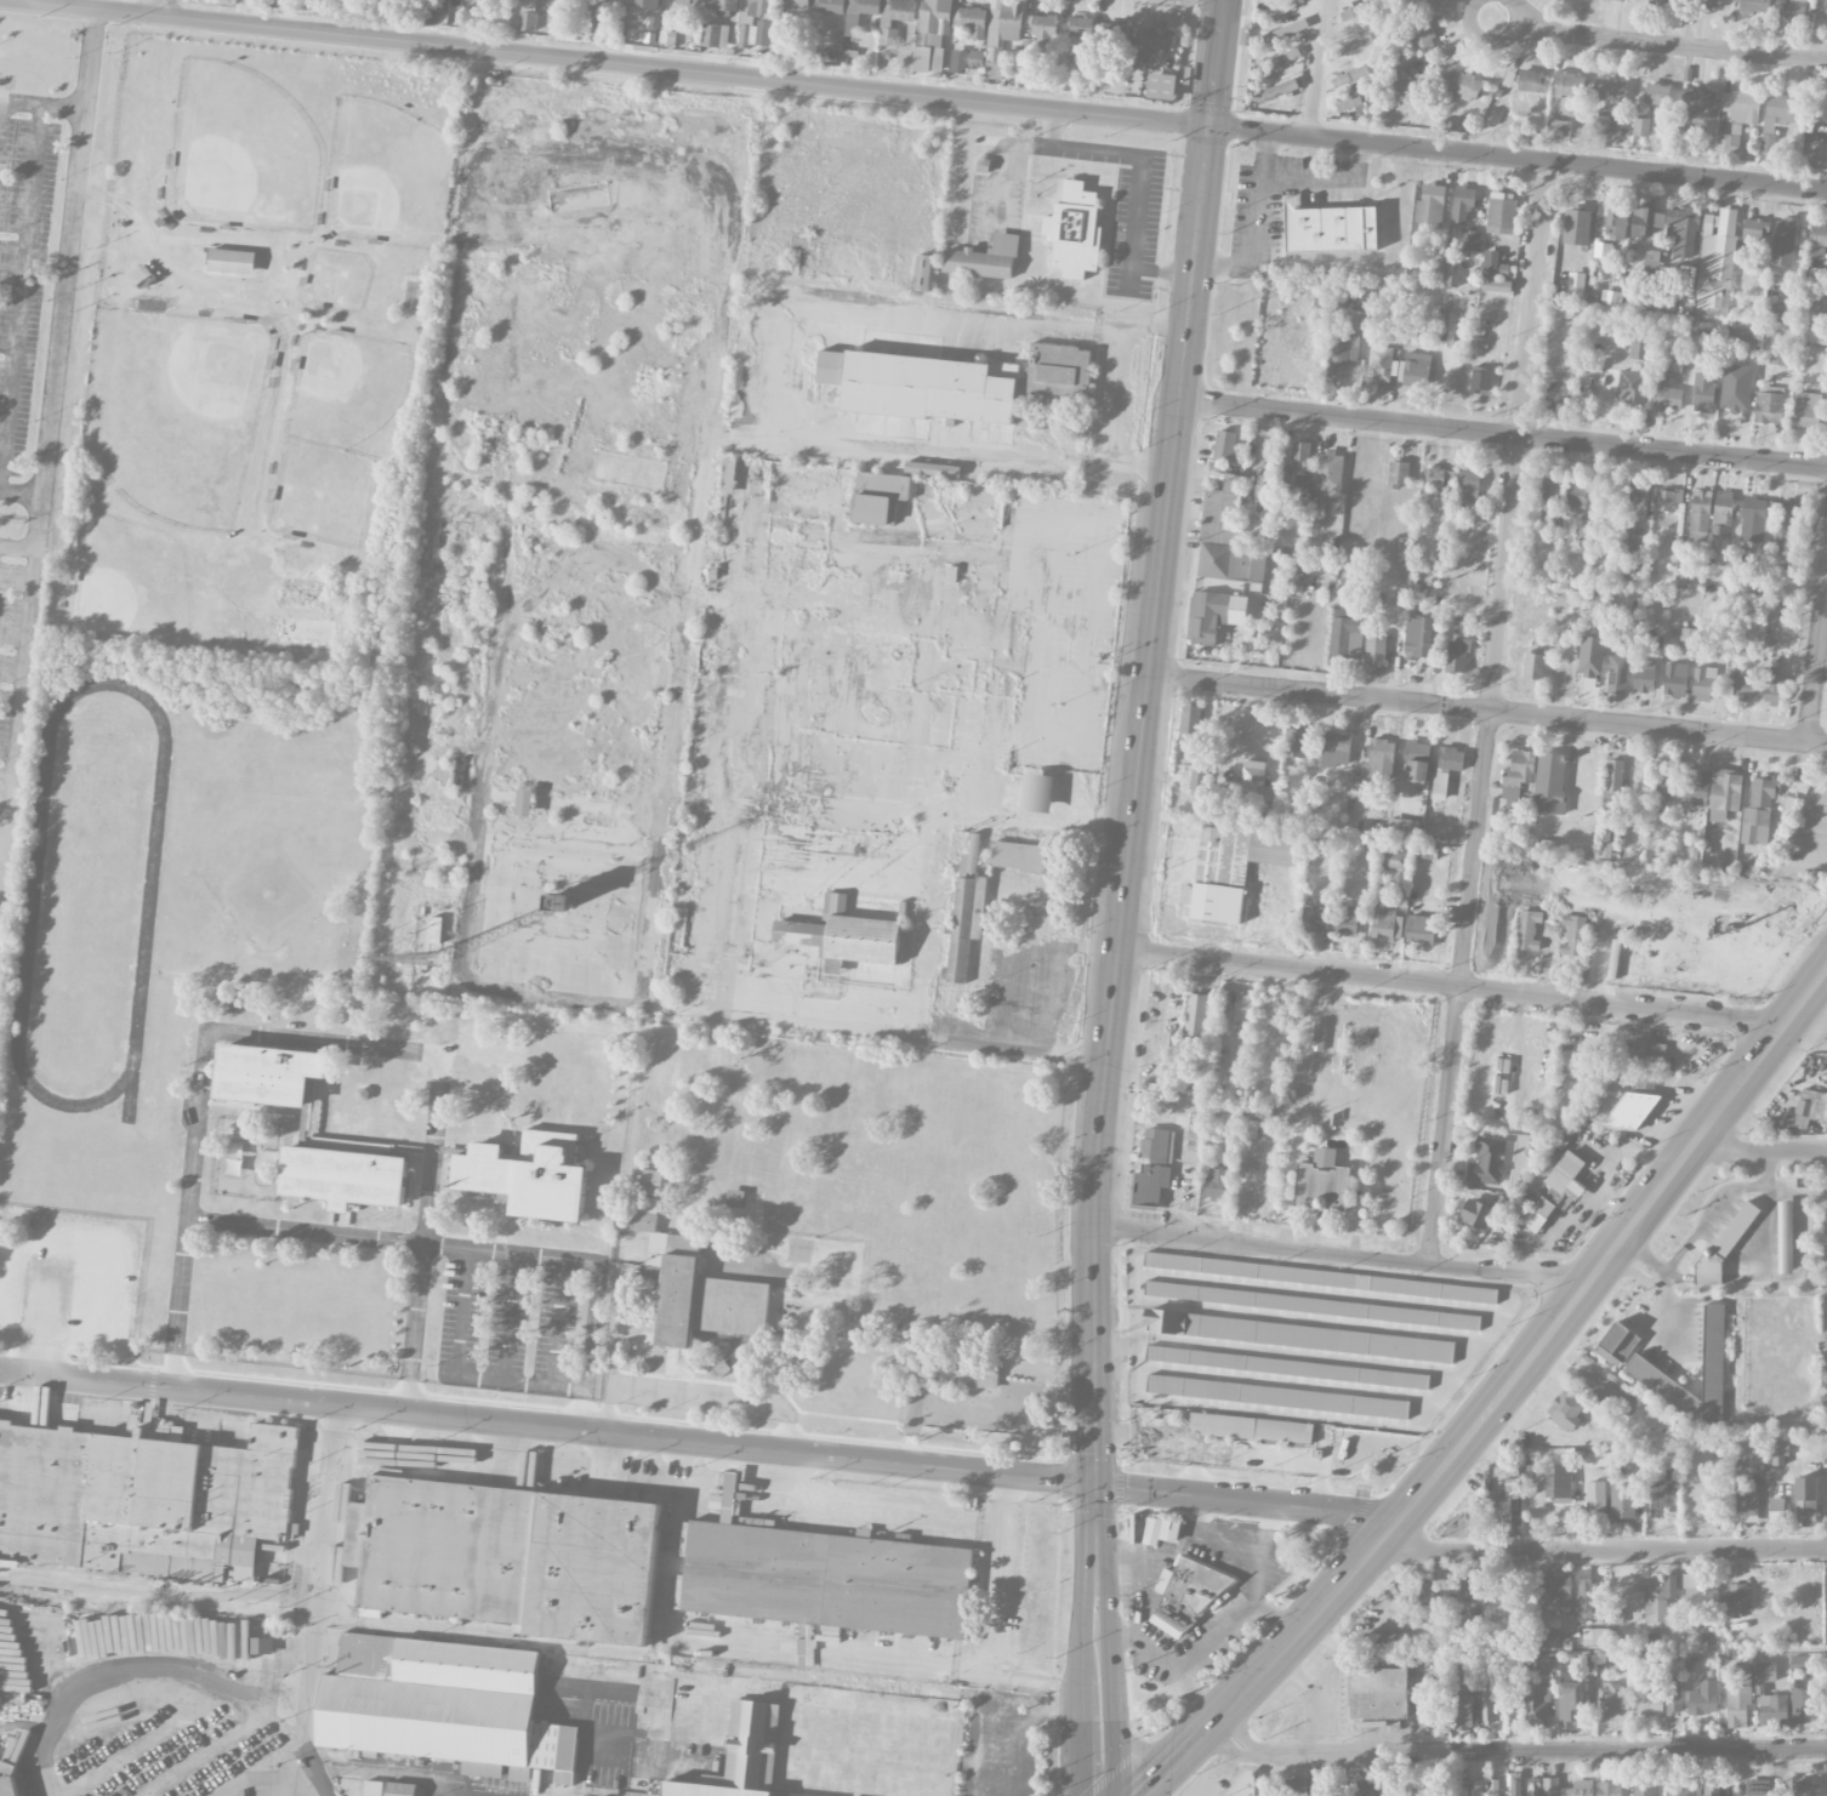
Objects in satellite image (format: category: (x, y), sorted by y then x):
building: (1633, 0)
building: (1664, 1)
building: (688, 2)
building: (798, 4)
building: (1708, 4)
building: (722, 5)
building: (564, 6)
building: (832, 6)
building: (1753, 6)
building: (1794, 7)
road: (161, 8)
building: (639, 8)
building: (1284, 8)
building: (1825, 10)
building: (1355, 11)
building: (859, 13)
building: (528, 15)
building: (897, 19)
building: (973, 22)
building: (1004, 22)
building: (756, 23)
building: (1080, 27)
building: (1043, 28)
building: (1285, 32)
building: (1114, 33)
building: (932, 34)
building: (715, 35)
building: (1421, 35)
building: (1159, 38)
building: (667, 39)
road: (1487, 41)
road: (1664, 46)
building: (1350, 47)
building: (1286, 57)
building: (974, 58)
road: (1317, 69)
building: (1349, 76)
building: (1532, 81)
building: (1400, 82)
building: (1462, 85)
building: (1569, 85)
building: (1161, 86)
building: (1610, 90)
building: (1276, 92)
building: (1656, 93)
road: (912, 97)
road: (21, 102)
building: (1348, 103)
building: (1700, 104)
building: (1822, 110)
building: (1778, 116)
building: (1736, 120)
building: (1604, 124)
building: (1640, 127)
traffic signals: (1210, 129)
building: (1559, 130)
park: (239, 153)
road: (1143, 163)
park: (387, 176)
road: (1325, 182)
building: (1430, 205)
building: (1463, 205)
building: (1501, 216)
building: (1616, 219)
building: (1646, 222)
road: (1256, 226)
building: (1576, 227)
building: (1330, 229)
building: (1754, 229)
building: (1075, 230)
building: (1683, 230)
building: (1472, 240)
building: (1783, 240)
building: (1816, 240)
building: (1601, 251)
building: (985, 258)
building: (1740, 258)
building: (226, 262)
building: (1651, 263)
building: (1493, 264)
road: (23, 266)
road: (1165, 269)
building: (1718, 269)
building: (923, 273)
building: (142, 275)
park: (334, 279)
building: (1576, 280)
building: (1496, 286)
road: (63, 298)
building: (1359, 303)
building: (1781, 312)
building: (1701, 330)
building: (1740, 333)
building: (1815, 333)
building: (1639, 349)
building: (1342, 353)
park: (209, 354)
building: (1777, 355)
building: (1379, 364)
building: (829, 367)
building: (1416, 370)
road: (785, 374)
building: (1480, 380)
building: (964, 383)
building: (1632, 386)
building: (1736, 388)
park: (342, 389)
road: (1117, 389)
building: (1556, 390)
building: (1703, 393)
building: (1667, 395)
building: (1769, 404)
park: (175, 409)
building: (1806, 410)
building: (889, 426)
road: (1504, 433)
building: (1225, 447)
building: (1300, 463)
building: (932, 469)
building: (1327, 472)
building: (1398, 474)
road: (1173, 475)
building: (728, 477)
building: (1434, 478)
building: (1468, 485)
road: (22, 492)
building: (1575, 492)
building: (1549, 494)
park: (319, 495)
building: (878, 497)
building: (1667, 500)
building: (1637, 503)
building: (1222, 512)
building: (1721, 513)
building: (1700, 515)
building: (1758, 520)
building: (1792, 521)
building: (1638, 543)
building: (1231, 563)
building: (1237, 610)
building: (1207, 616)
building: (1347, 633)
building: (1419, 638)
building: (1687, 638)
building: (1374, 649)
building: (1457, 656)
building: (1590, 656)
building: (1533, 666)
road: (1817, 666)
building: (1617, 674)
building: (1644, 675)
building: (1675, 679)
building: (1703, 684)
building: (1741, 685)
building: (1775, 689)
road: (1489, 711)
road: (18, 713)
road: (1491, 714)
building: (1190, 724)
building: (1294, 743)
building: (1336, 749)
building: (1381, 759)
building: (1451, 759)
building: (1417, 762)
building: (1520, 768)
building: (1253, 775)
building: (1666, 779)
building: (1199, 781)
building: (1613, 782)
building: (1550, 783)
building: (1440, 786)
building: (1695, 787)
building: (1510, 792)
building: (1037, 793)
building: (1725, 794)
building: (1825, 796)
building: (524, 803)
building: (1758, 813)
building: (1404, 828)
park: (275, 848)
building: (1427, 853)
building: (1023, 857)
building: (1394, 860)
building: (1231, 868)
track: (149, 894)
building: (1313, 918)
building: (1345, 924)
building: (964, 925)
building: (1387, 925)
building: (1421, 929)
building: (1527, 930)
building: (843, 935)
building: (1573, 936)
road: (1088, 947)
road: (1452, 986)
road: (1009, 997)
building: (1243, 1009)
building: (1196, 1015)
road: (1048, 1027)
road: (238, 1031)
building: (1317, 1036)
building: (1169, 1043)
building: (1649, 1050)
building: (268, 1073)
building: (1811, 1104)
building: (1630, 1111)
building: (1195, 1134)
building: (1154, 1145)
road: (1759, 1151)
building: (1487, 1162)
building: (529, 1174)
building: (343, 1176)
building: (1567, 1180)
building: (1321, 1182)
building: (1216, 1184)
building: (1150, 1185)
road: (1095, 1191)
building: (1499, 1203)
road: (1717, 1208)
building: (1476, 1214)
building: (1538, 1214)
road: (303, 1230)
building: (1785, 1238)
building: (1726, 1242)
road: (1639, 1253)
road: (1342, 1255)
road: (594, 1260)
building: (1320, 1278)
road: (1640, 1278)
building: (691, 1279)
building: (1311, 1306)
road: (1656, 1306)
road: (411, 1327)
building: (1298, 1336)
building: (1617, 1344)
road: (611, 1346)
building: (1713, 1362)
building: (1287, 1368)
road: (719, 1396)
road: (1499, 1396)
building: (1277, 1397)
building: (1565, 1412)
road: (547, 1426)
building: (1252, 1429)
road: (1138, 1433)
building: (1777, 1452)
road: (1095, 1458)
building: (1559, 1482)
traffic signals: (1095, 1484)
building: (143, 1499)
road: (1242, 1499)
building: (1595, 1499)
building: (1623, 1501)
building: (1746, 1505)
road: (869, 1510)
building: (1498, 1512)
building: (1805, 1512)
road: (324, 1513)
building: (1465, 1522)
road: (1095, 1527)
building: (1161, 1530)
road: (1604, 1550)
building: (507, 1557)
building: (825, 1577)
building: (1475, 1587)
building: (1459, 1591)
building: (1555, 1591)
building: (1586, 1593)
building: (1697, 1596)
building: (1185, 1597)
building: (1658, 1602)
building: (1731, 1602)
building: (1518, 1606)
building: (1616, 1614)
building: (1497, 1633)
building: (1595, 1637)
road: (1082, 1638)
building: (1549, 1640)
building: (1566, 1641)
building: (1382, 1642)
building: (291, 1644)
road: (990, 1649)
building: (1798, 1663)
building: (1548, 1666)
building: (1766, 1672)
road: (116, 1676)
road: (1111, 1681)
building: (1377, 1693)
building: (1486, 1694)
building: (1673, 1695)
building: (1737, 1695)
building: (1703, 1698)
building: (1609, 1701)
building: (1650, 1703)
building: (444, 1705)
building: (1536, 1705)
building: (1803, 1705)
building: (1566, 1710)
building: (1772, 1710)
road: (303, 1711)
building: (1461, 1711)
road: (1002, 1716)
road: (1514, 1751)
road: (1080, 1752)
building: (742, 1756)
road: (1226, 1771)
road: (374, 1772)
building: (7, 1779)
road: (278, 1781)
building: (1242, 1783)
building: (1319, 1785)
building: (1550, 1786)
building: (1293, 1788)
building: (1387, 1788)
building: (1478, 1788)
building: (1493, 1788)
building: (1515, 1788)
building: (1643, 1788)
building: (400, 1789)
building: (1533, 1789)
building: (1577, 1789)
building: (1609, 1789)
building: (1805, 1789)
building: (1364, 1790)
building: (1429, 1790)
building: (1694, 1790)

